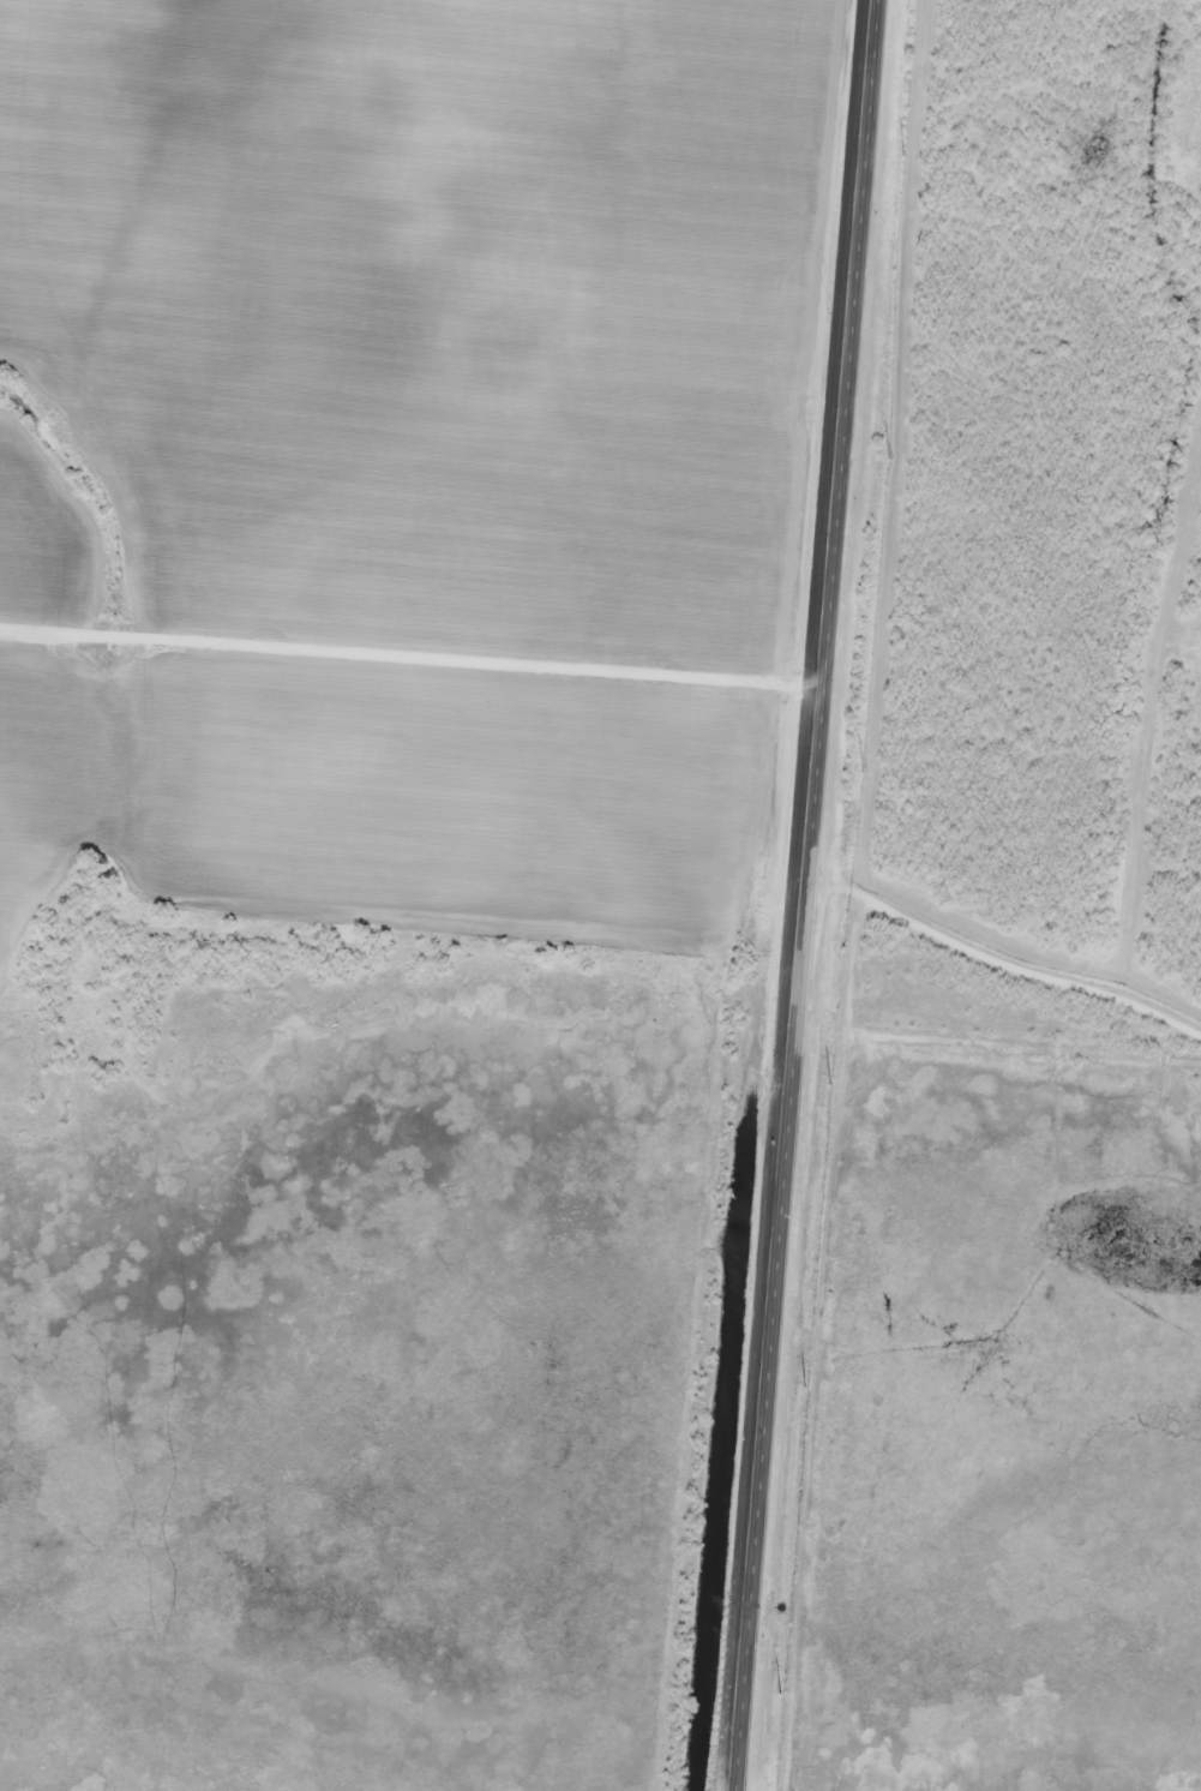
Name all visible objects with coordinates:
road: (80, 457)
road: (412, 649)
road: (806, 894)
road: (1001, 1046)

